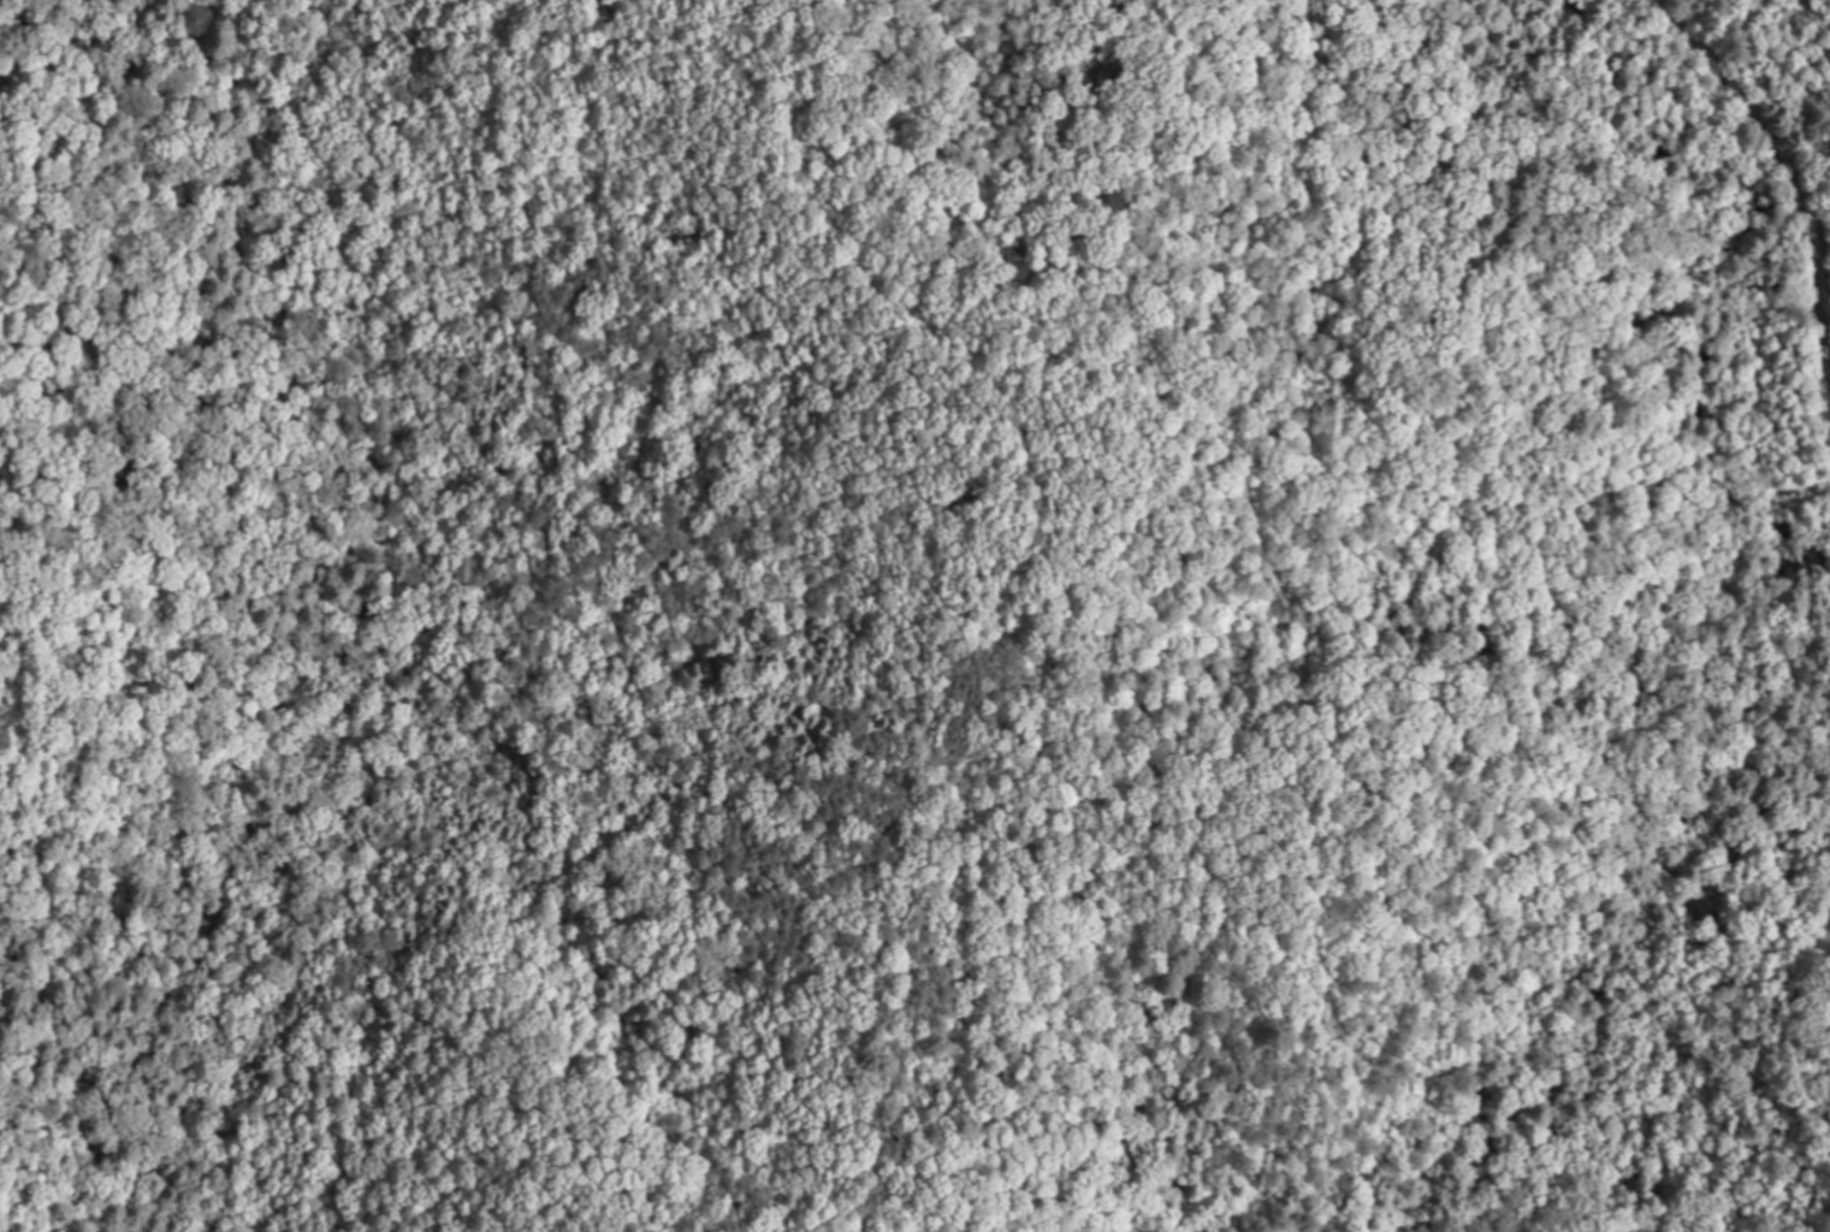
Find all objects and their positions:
road: (1788, 161)
road: (1677, 302)

